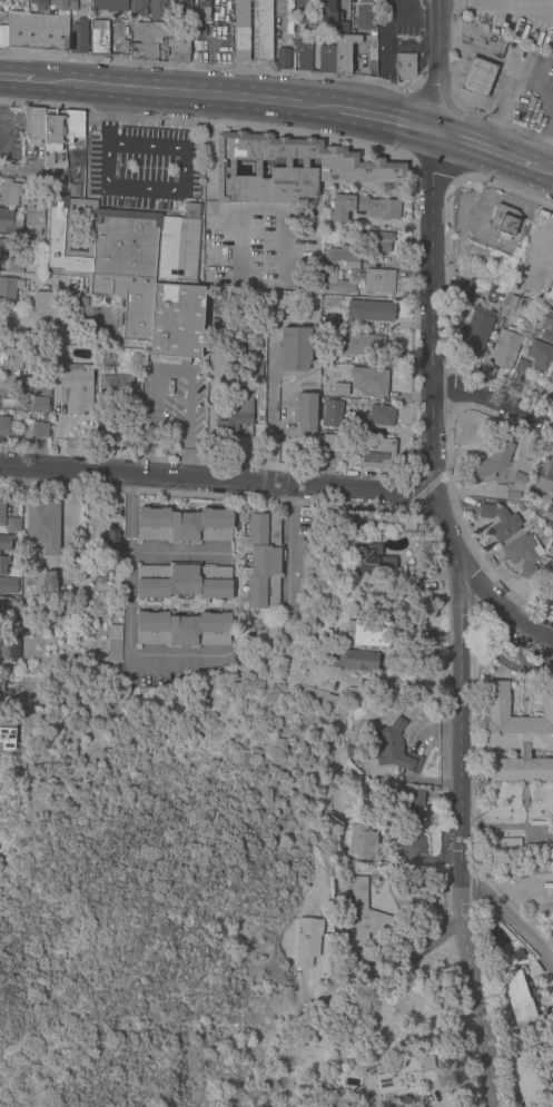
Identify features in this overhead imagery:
building: (0, 0)
building: (37, 1)
building: (57, 2)
road: (451, 3)
road: (508, 3)
building: (72, 4)
building: (179, 6)
building: (111, 7)
building: (138, 7)
building: (302, 9)
building: (325, 9)
building: (159, 11)
building: (200, 11)
building: (366, 14)
parking lot: (399, 18)
parking lot: (514, 19)
building: (309, 27)
building: (340, 27)
parking lot: (2, 28)
building: (198, 30)
building: (240, 30)
building: (264, 30)
building: (37, 32)
building: (78, 36)
building: (98, 38)
building: (146, 39)
building: (481, 41)
building: (179, 49)
building: (303, 51)
building: (326, 55)
building: (342, 55)
building: (282, 59)
building: (405, 66)
road: (435, 66)
road: (20, 77)
building: (476, 77)
gas station: (476, 77)
road: (72, 82)
road: (1, 91)
road: (217, 95)
road: (109, 113)
road: (382, 118)
building: (33, 125)
building: (72, 126)
building: (53, 129)
road: (1, 130)
parking lot: (10, 135)
road: (485, 148)
building: (48, 157)
building: (73, 167)
parking lot: (142, 167)
building: (289, 168)
road: (545, 170)
road: (31, 174)
road: (208, 186)
road: (179, 189)
building: (10, 192)
building: (363, 207)
building: (191, 210)
building: (32, 217)
building: (6, 219)
building: (505, 220)
building: (16, 227)
building: (330, 231)
building: (378, 241)
road: (240, 244)
road: (282, 245)
parking lot: (258, 246)
building: (1, 249)
building: (342, 253)
building: (14, 265)
building: (350, 266)
building: (137, 271)
building: (334, 280)
building: (377, 280)
building: (9, 287)
building: (547, 289)
building: (466, 290)
building: (492, 297)
building: (47, 300)
building: (508, 302)
building: (369, 310)
building: (326, 319)
building: (11, 322)
building: (546, 328)
building: (50, 330)
building: (257, 330)
building: (474, 330)
building: (257, 342)
building: (367, 343)
building: (505, 347)
building: (539, 354)
building: (9, 356)
building: (327, 357)
building: (251, 365)
building: (521, 365)
building: (106, 369)
road: (165, 369)
building: (551, 377)
building: (312, 379)
building: (369, 380)
building: (41, 387)
building: (72, 387)
building: (288, 388)
building: (337, 388)
building: (116, 389)
road: (491, 396)
building: (282, 401)
building: (2, 402)
building: (36, 404)
road: (267, 404)
parking lot: (172, 405)
building: (17, 406)
road: (187, 408)
road: (150, 412)
building: (332, 413)
building: (381, 415)
building: (235, 417)
building: (6, 426)
building: (38, 428)
building: (289, 428)
building: (333, 443)
building: (376, 453)
road: (285, 455)
road: (147, 459)
building: (494, 461)
road: (185, 464)
building: (544, 476)
road: (218, 484)
building: (514, 487)
building: (1, 514)
building: (547, 516)
building: (500, 522)
building: (42, 523)
building: (12, 525)
building: (184, 525)
building: (4, 542)
building: (110, 548)
road: (177, 552)
road: (290, 552)
building: (523, 554)
building: (371, 560)
building: (264, 561)
building: (3, 564)
building: (412, 571)
building: (39, 581)
building: (182, 581)
building: (8, 585)
building: (549, 591)
building: (16, 600)
building: (4, 605)
road: (505, 610)
road: (127, 613)
road: (465, 616)
building: (259, 623)
building: (182, 629)
building: (325, 633)
building: (367, 633)
building: (424, 634)
building: (113, 642)
building: (12, 644)
building: (2, 649)
building: (353, 659)
road: (397, 683)
building: (7, 735)
building: (517, 735)
building: (393, 748)
building: (350, 751)
building: (409, 807)
building: (392, 834)
building: (362, 842)
building: (502, 842)
building: (409, 847)
building: (539, 851)
building: (502, 869)
building: (364, 915)
road: (513, 923)
building: (306, 941)
road: (389, 962)
building: (532, 970)
building: (517, 998)
building: (405, 1077)
building: (526, 1081)

